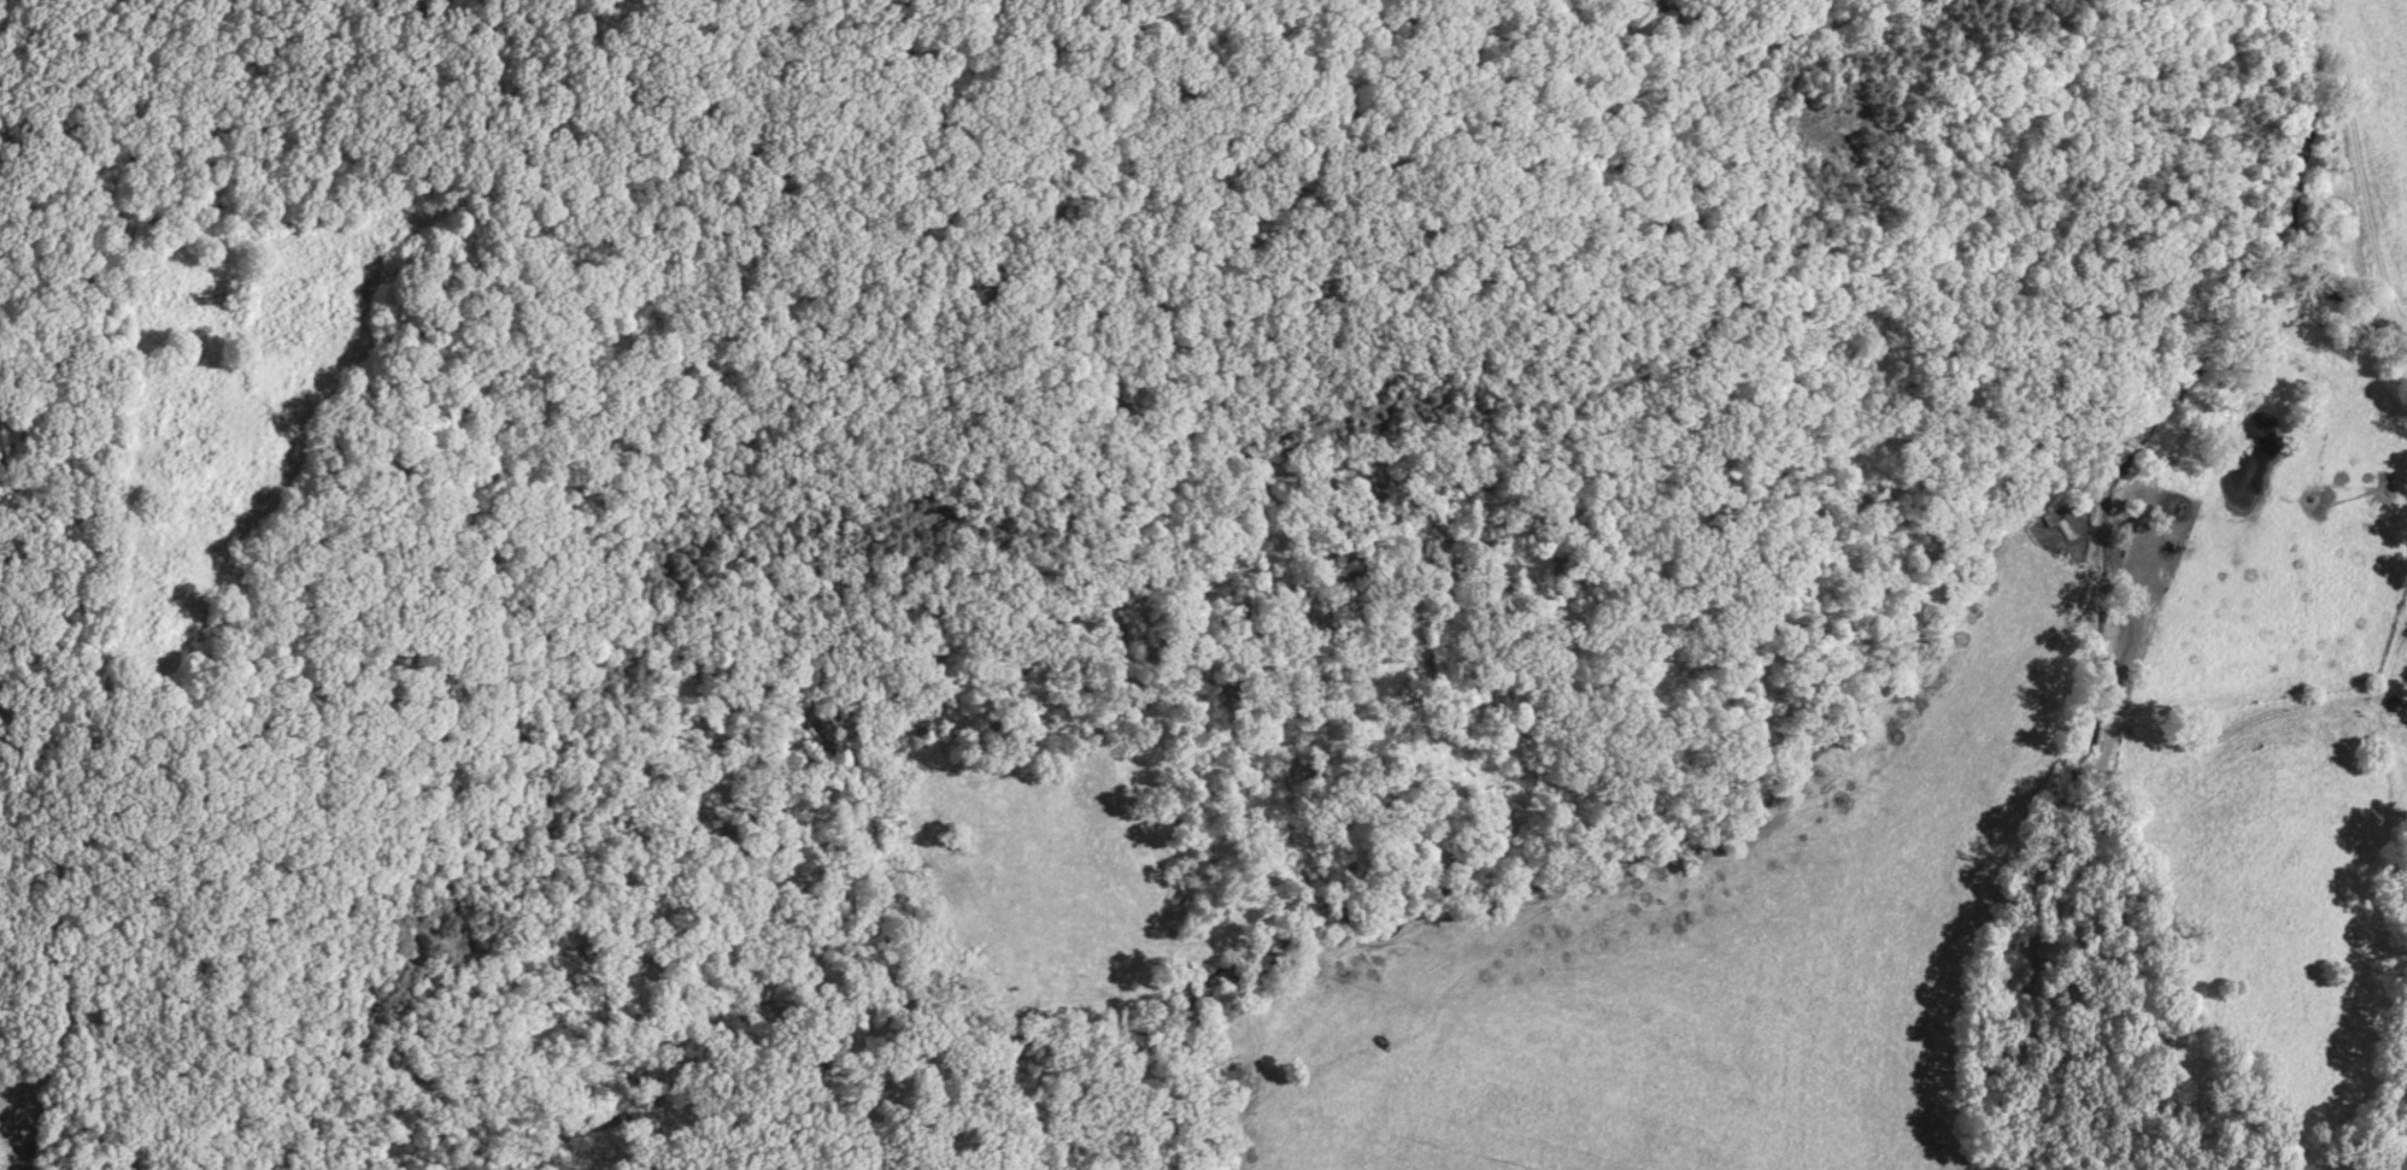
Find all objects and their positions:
road: (2362, 167)
road: (2254, 334)

